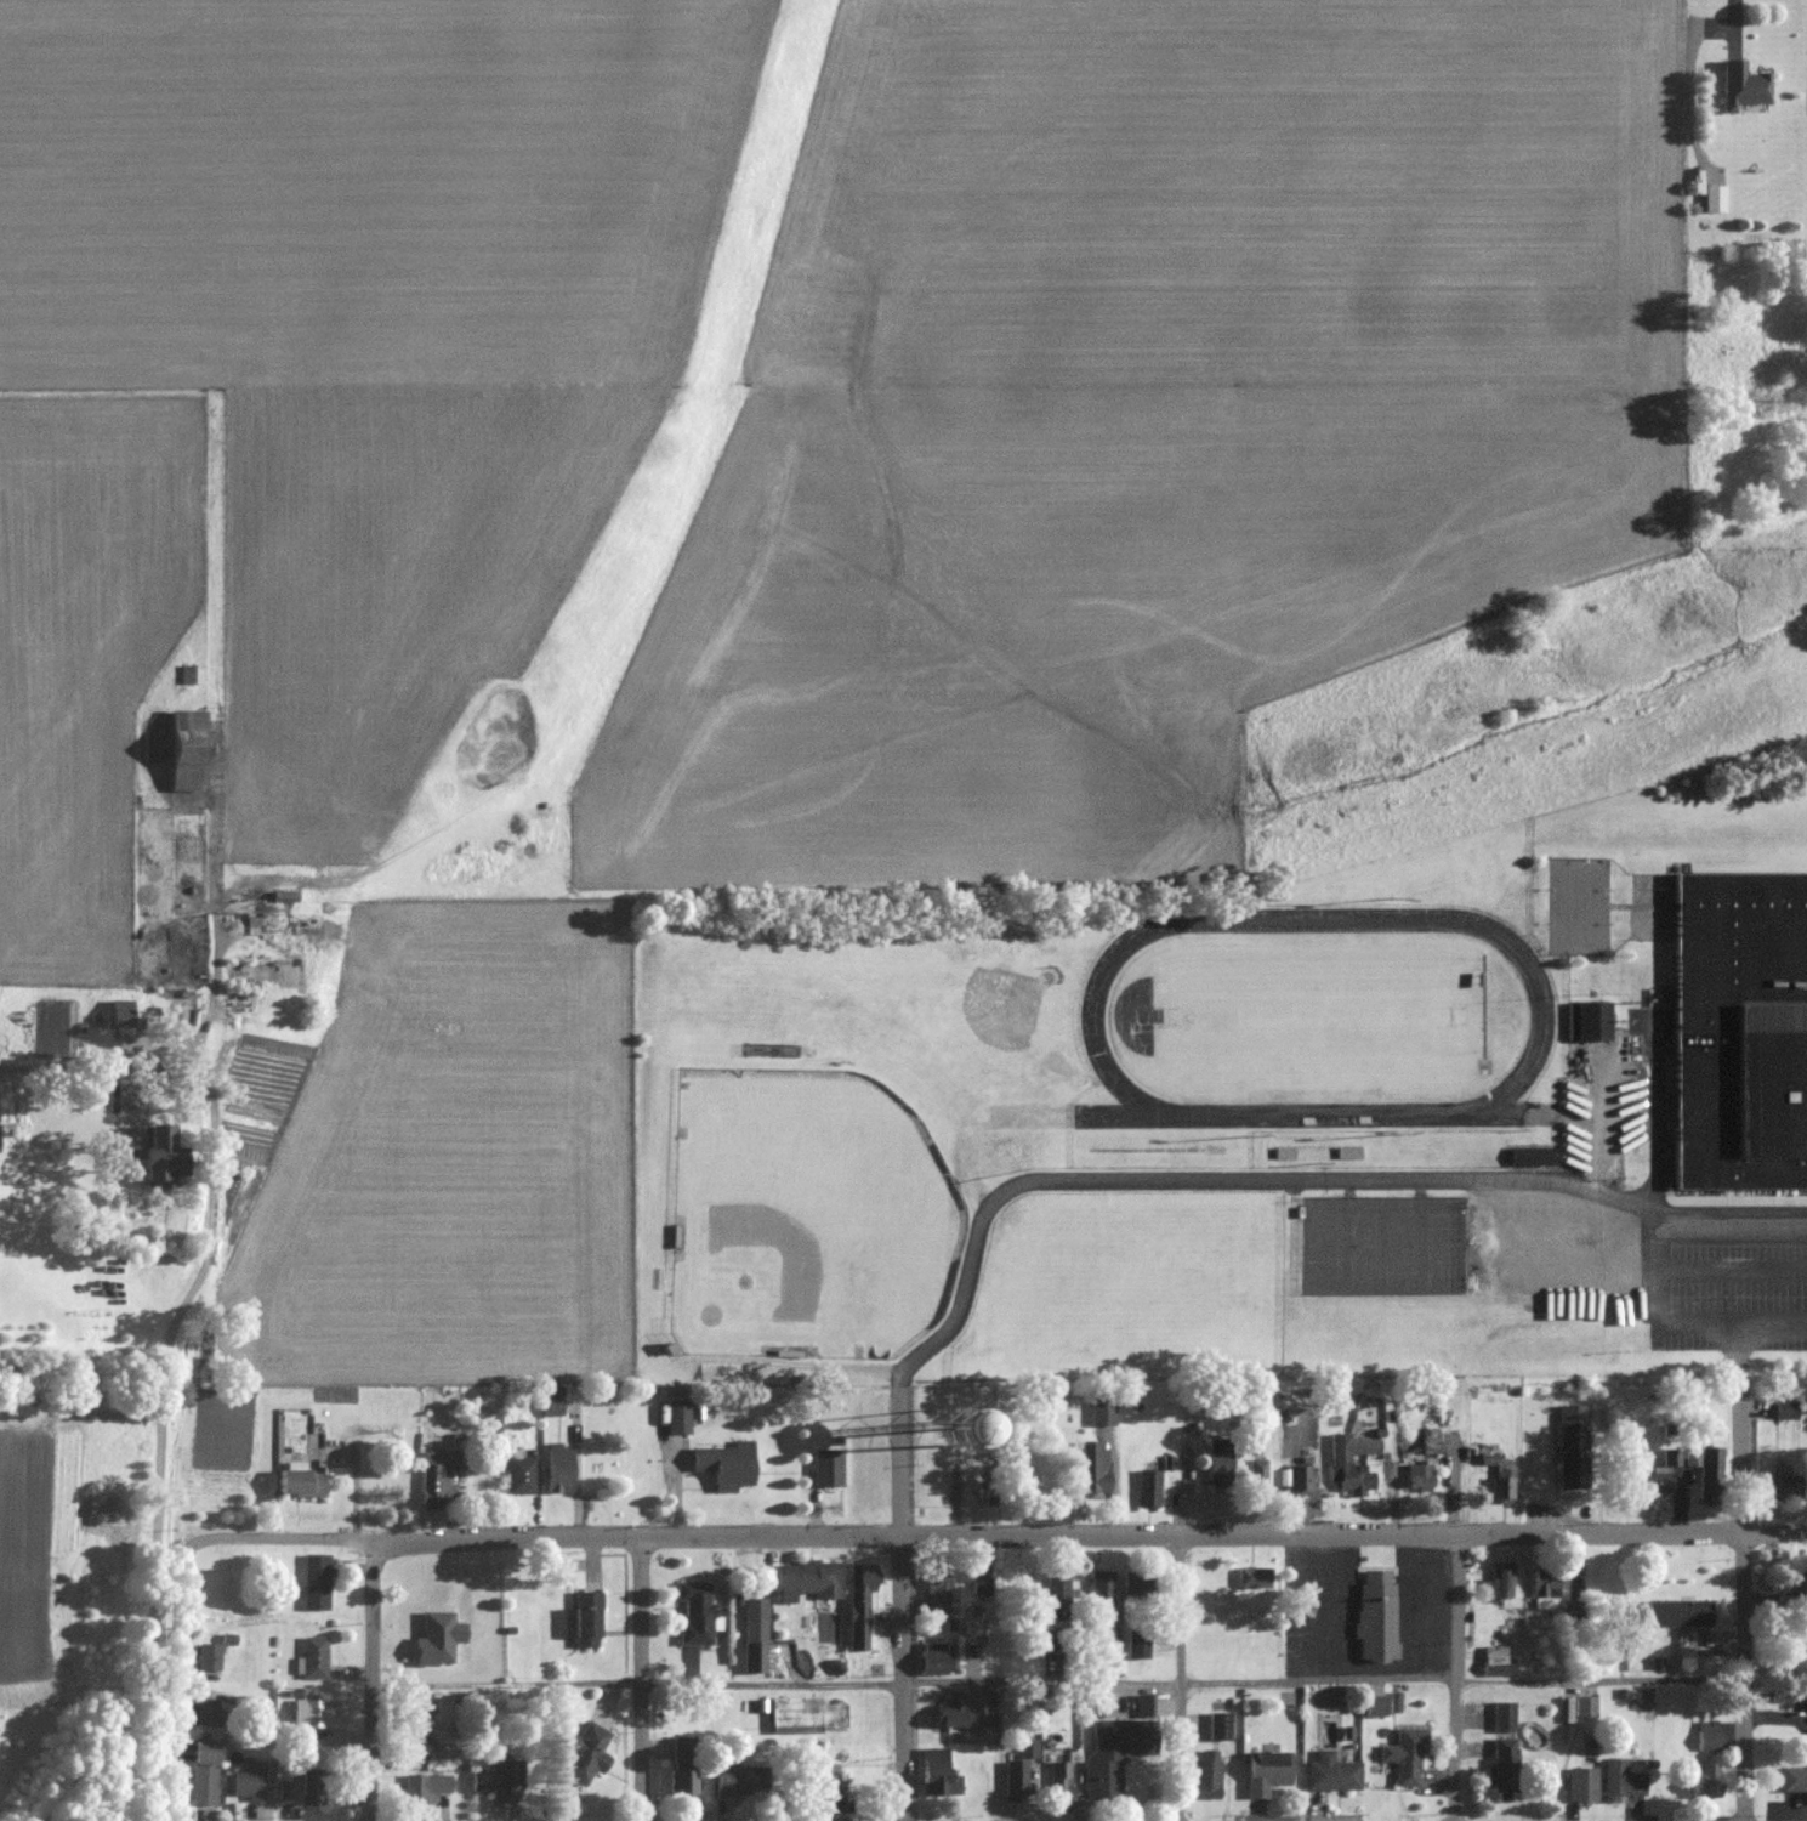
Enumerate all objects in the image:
building: (184, 750)
building: (284, 897)
building: (117, 1012)
track: (1317, 1016)
park: (1319, 1019)
building: (1590, 1021)
building: (1741, 1031)
road: (103, 1062)
building: (125, 1101)
track: (1487, 1113)
track: (1130, 1116)
building: (146, 1153)
road: (1602, 1153)
building: (1532, 1156)
road: (214, 1163)
road: (1299, 1179)
park: (806, 1215)
park: (1364, 1243)
road: (1658, 1243)
park: (1403, 1244)
park: (1442, 1244)
park: (1326, 1246)
road: (1744, 1324)
building: (552, 1407)
building: (1786, 1409)
building: (1102, 1412)
building: (678, 1418)
water tower: (951, 1426)
building: (1573, 1446)
building: (1339, 1459)
road: (1743, 1460)
building: (1706, 1462)
building: (1218, 1463)
building: (726, 1465)
building: (1093, 1467)
building: (559, 1469)
building: (828, 1469)
building: (1257, 1475)
building: (522, 1476)
building: (1655, 1477)
building: (1419, 1479)
building: (1296, 1480)
building: (1500, 1480)
building: (299, 1482)
building: (1148, 1488)
building: (1780, 1488)
road: (996, 1534)
building: (1254, 1578)
building: (808, 1581)
building: (1501, 1582)
building: (316, 1583)
building: (1056, 1588)
building: (1101, 1589)
building: (938, 1593)
building: (1547, 1593)
building: (860, 1604)
road: (905, 1607)
building: (1678, 1613)
building: (695, 1615)
building: (585, 1618)
building: (1375, 1618)
building: (972, 1627)
building: (755, 1636)
building: (438, 1640)
building: (1137, 1649)
building: (316, 1658)
building: (936, 1658)
building: (209, 1660)
building: (1496, 1662)
road: (1180, 1677)
road: (1744, 1677)
road: (641, 1678)
road: (1455, 1678)
road: (1581, 1678)
road: (375, 1680)
road: (1059, 1681)
road: (182, 1686)
building: (1396, 1702)
building: (1093, 1706)
building: (1375, 1706)
building: (1144, 1707)
building: (1586, 1707)
building: (417, 1711)
building: (203, 1712)
building: (960, 1714)
building: (318, 1715)
building: (806, 1715)
building: (1505, 1718)
building: (1218, 1726)
building: (1709, 1736)
building: (417, 1751)
building: (586, 1754)
building: (1109, 1755)
building: (1405, 1758)
building: (1502, 1770)
building: (1017, 1772)
building: (1266, 1772)
building: (204, 1774)
building: (1331, 1774)
building: (937, 1775)
building: (1206, 1776)
building: (249, 1780)
building: (501, 1780)
building: (737, 1780)
building: (1623, 1780)
building: (1792, 1780)
building: (680, 1782)
building: (828, 1782)
building: (1703, 1782)
building: (1582, 1785)
building: (425, 1787)
building: (1061, 1787)
building: (308, 1788)
building: (286, 1791)

